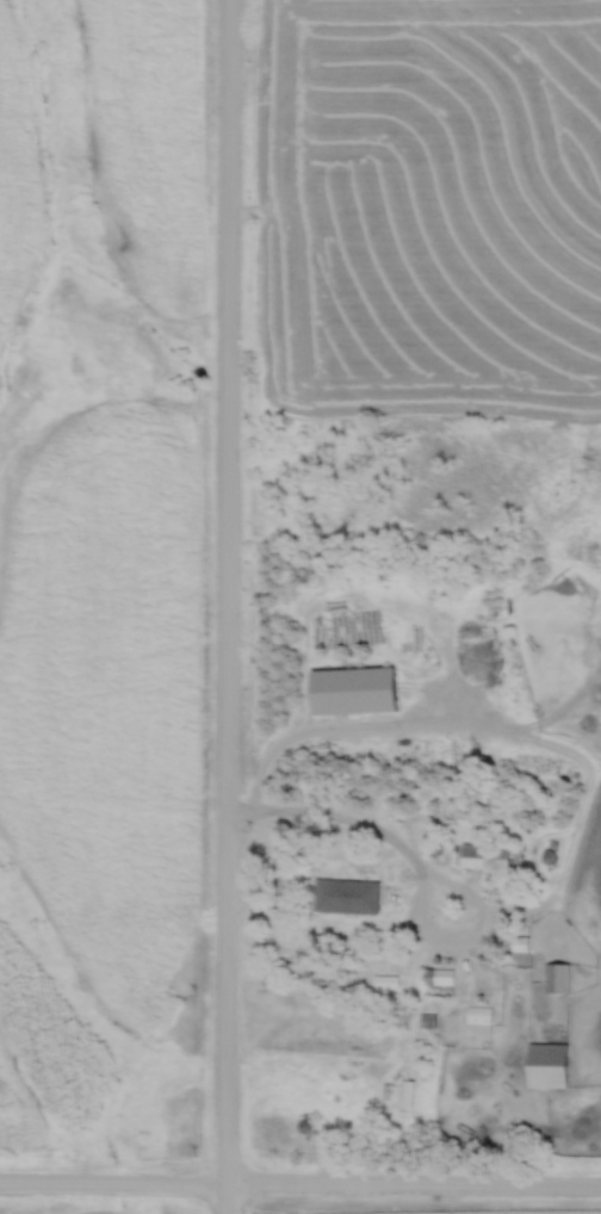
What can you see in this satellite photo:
road: (225, 607)
building: (358, 690)
building: (349, 896)
road: (420, 937)
building: (439, 978)
building: (559, 978)
building: (481, 1015)
building: (551, 1065)
building: (409, 1094)
road: (299, 1178)

